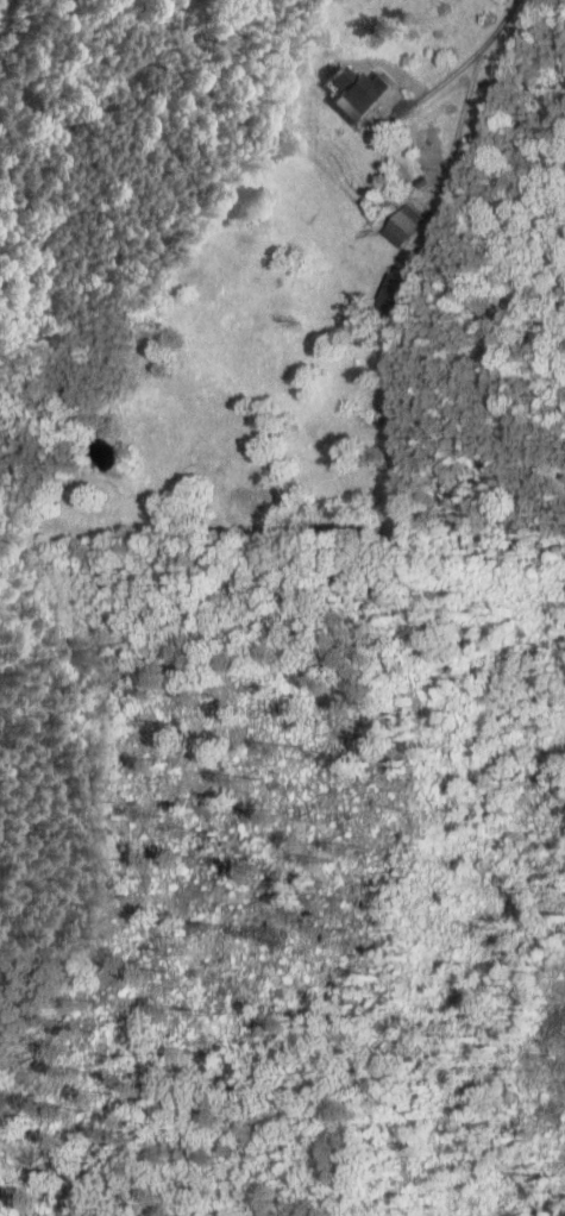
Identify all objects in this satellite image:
road: (500, 25)
building: (352, 92)
road: (401, 183)
building: (400, 224)

